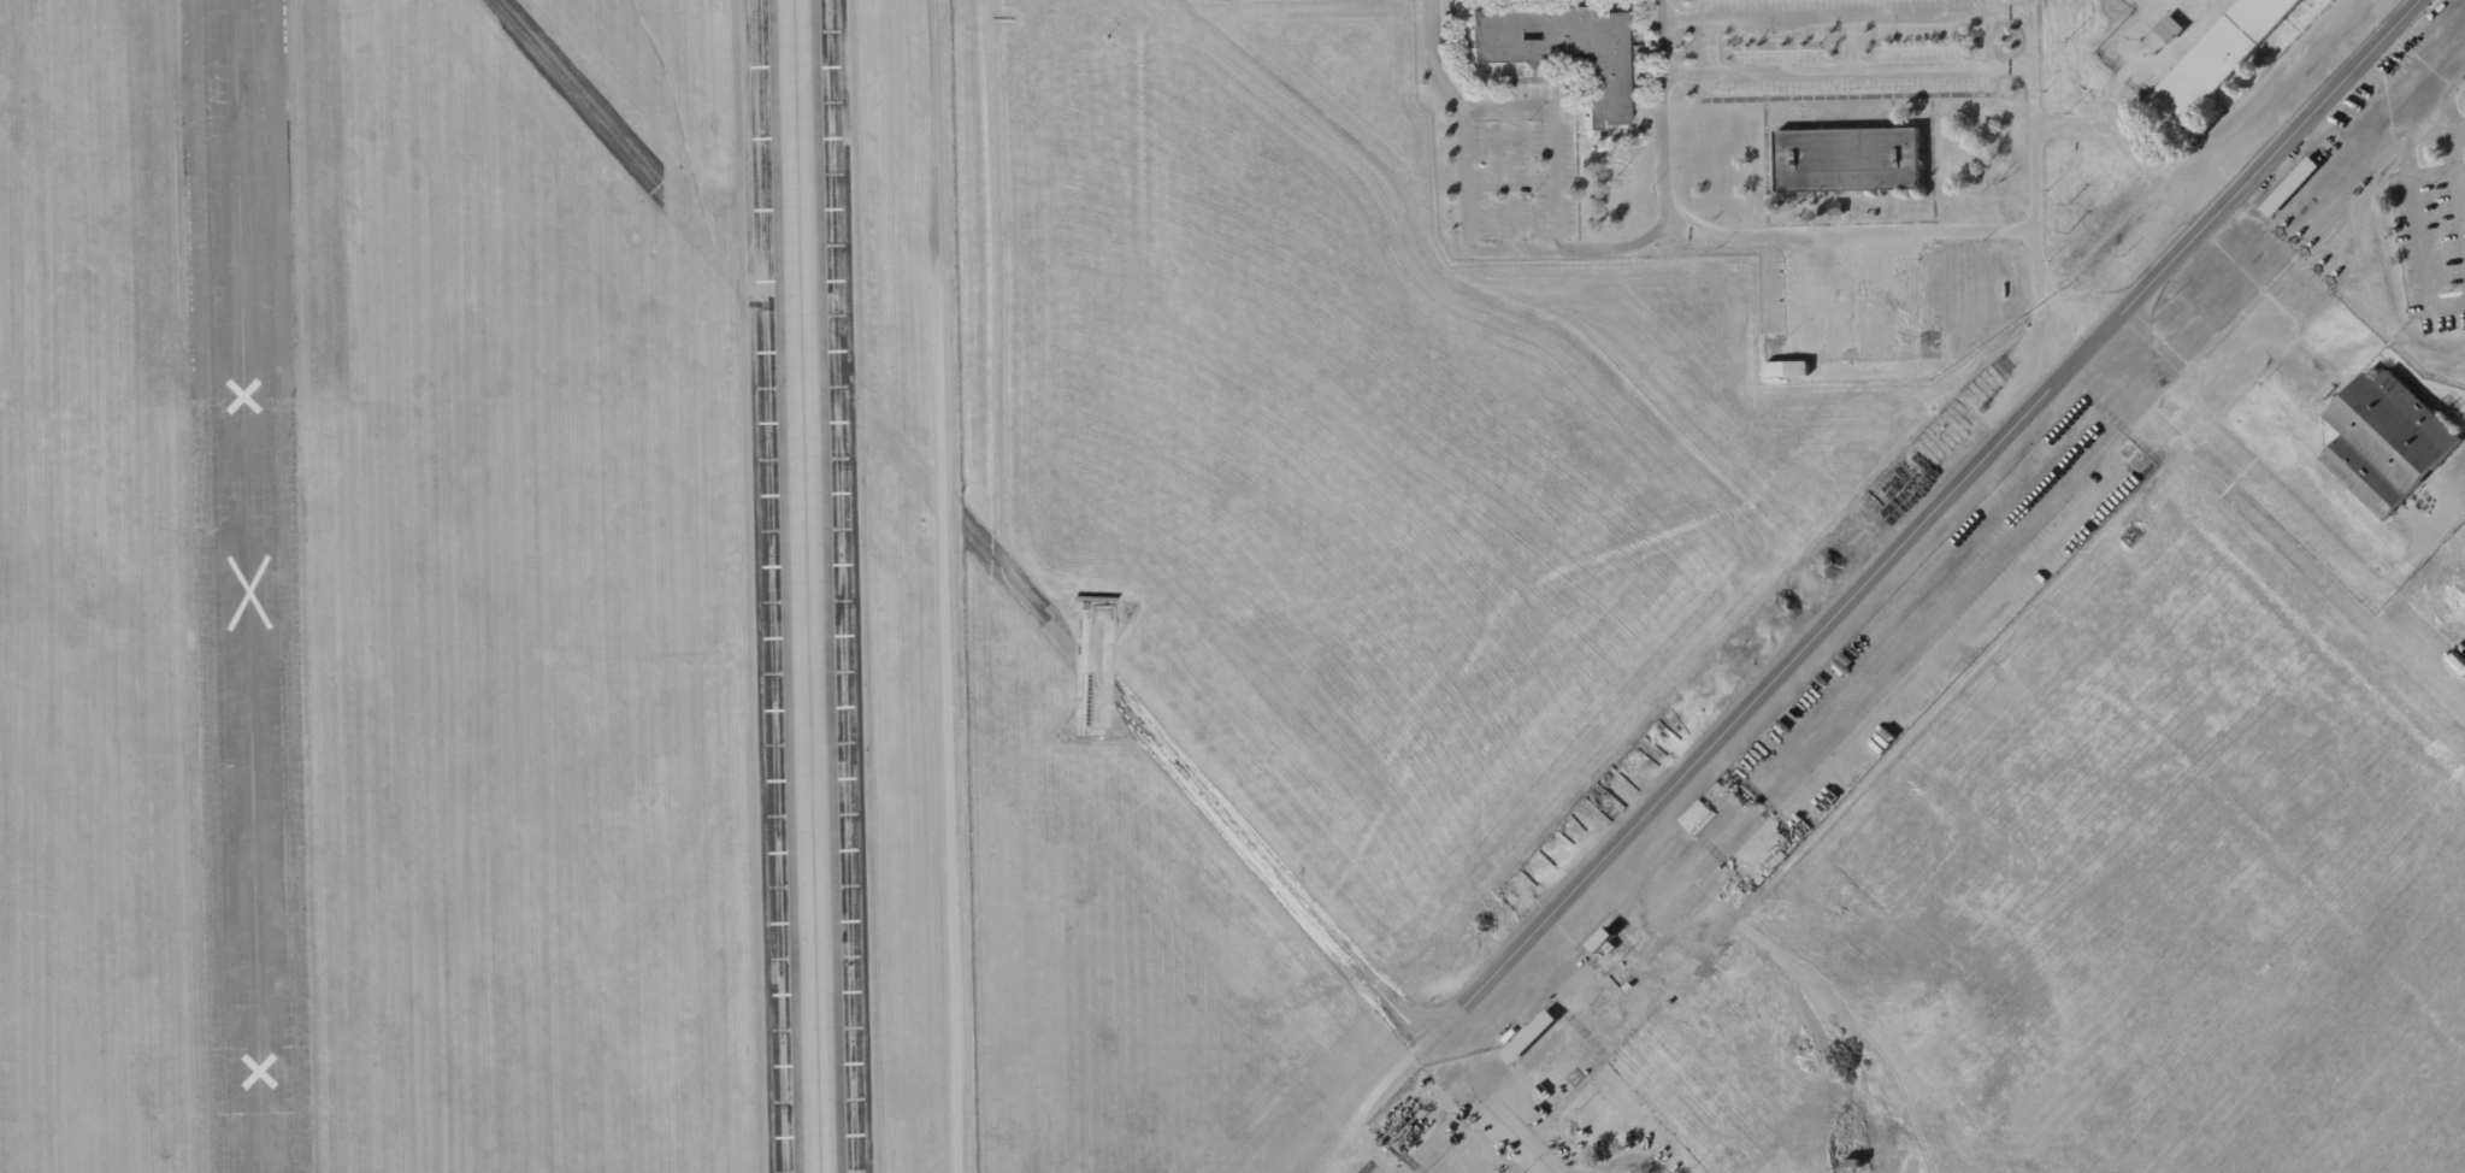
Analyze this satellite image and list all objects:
road: (1845, 16)
building: (2168, 29)
parking lot: (1845, 46)
building: (1557, 48)
road: (2125, 59)
building: (2217, 59)
road: (1846, 71)
road: (2071, 126)
road: (1555, 130)
building: (1847, 160)
parking lot: (1514, 164)
road: (2162, 167)
road: (1509, 177)
road: (2034, 179)
building: (2288, 189)
building: (1836, 210)
road: (1462, 225)
road: (1739, 236)
building: (2310, 342)
building: (1904, 344)
building: (1787, 369)
building: (2353, 369)
building: (2288, 382)
building: (2386, 443)
building: (2119, 464)
road: (2278, 527)
airport taxiway: (804, 586)
airport: (1232, 586)
building: (2443, 596)
building: (2459, 648)
building: (2457, 661)
building: (1604, 942)
road: (1508, 956)
building: (1504, 1033)
building: (1531, 1037)
building: (1587, 1054)
building: (1852, 1163)

